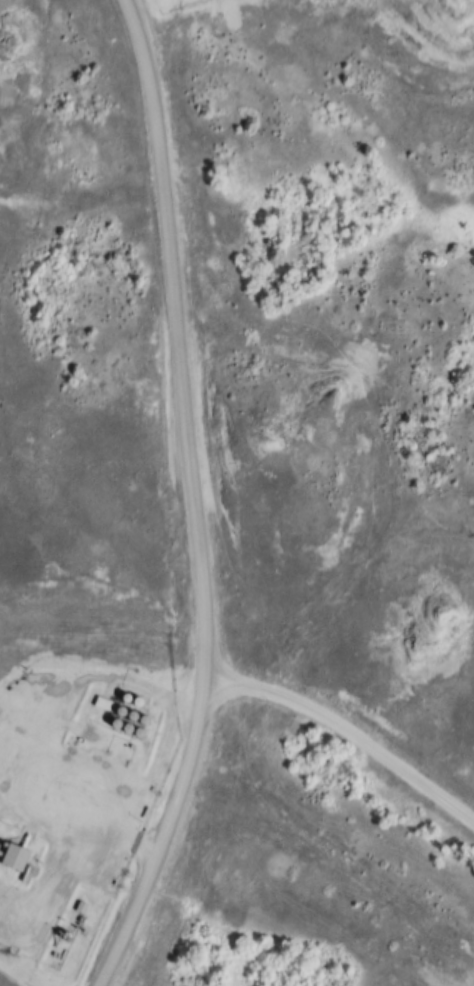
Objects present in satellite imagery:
road: (192, 502)
road: (350, 738)
building: (11, 858)

